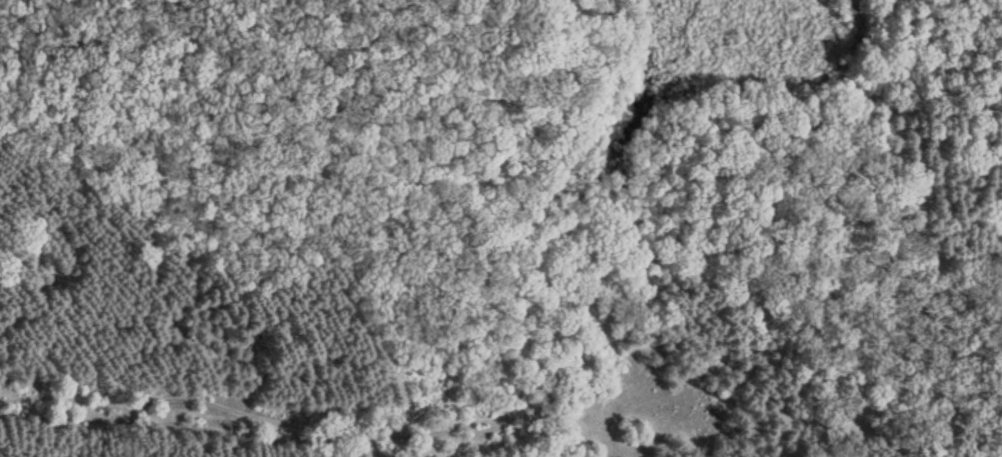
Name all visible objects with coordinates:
road: (552, 364)

